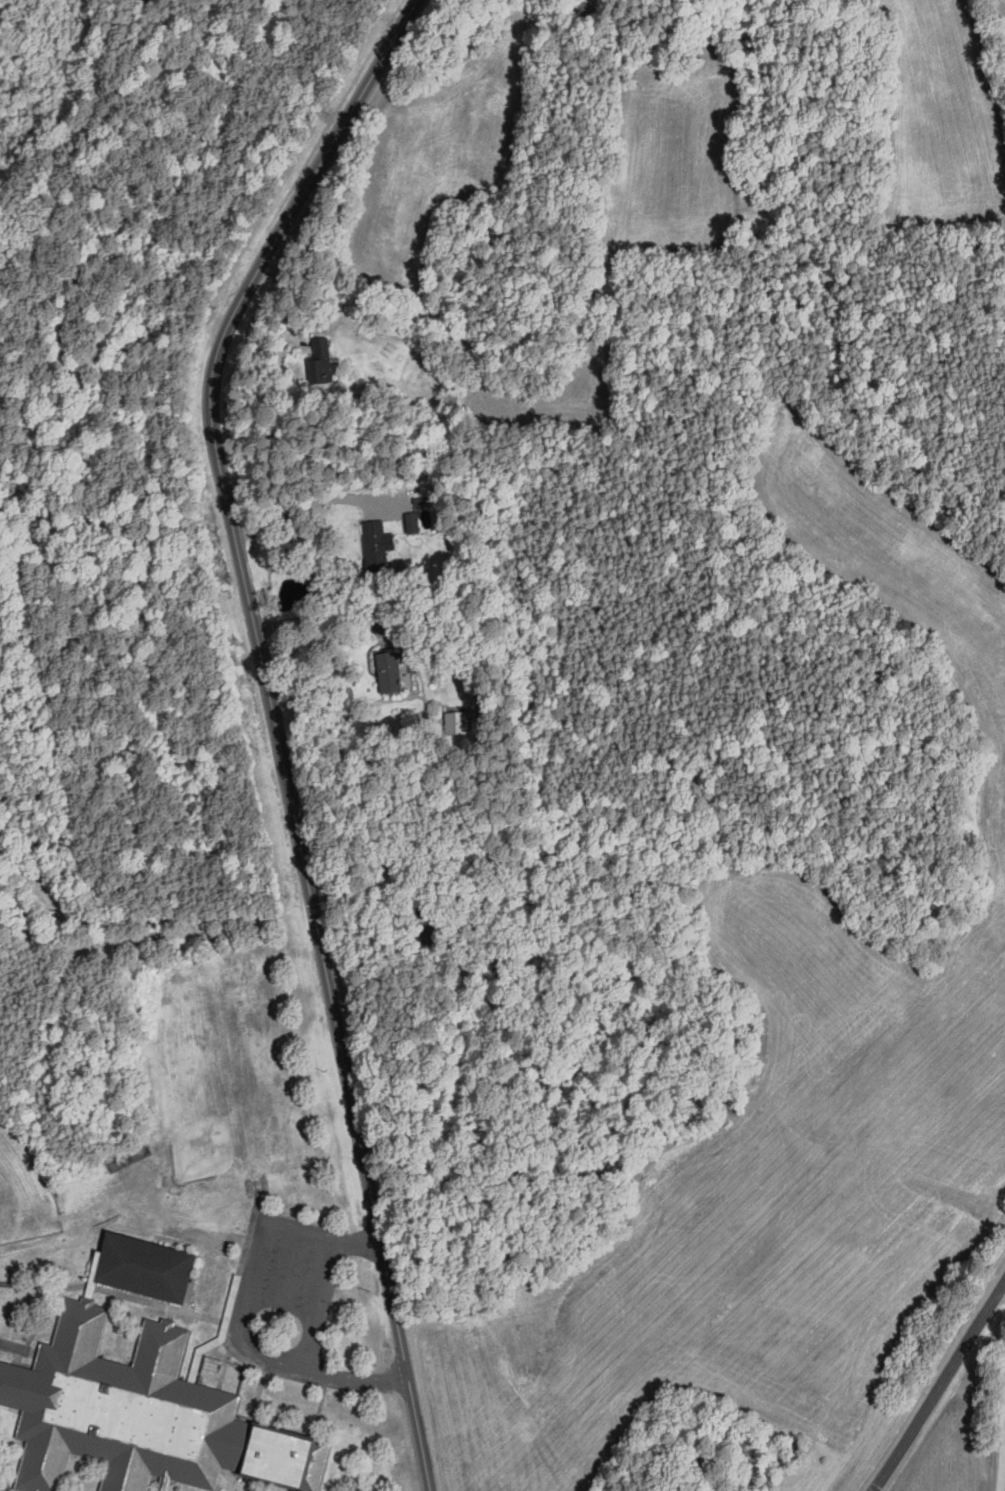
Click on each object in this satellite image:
building: (586, 13)
building: (322, 361)
road: (303, 498)
building: (414, 522)
building: (377, 547)
road: (320, 608)
building: (390, 671)
road: (271, 724)
building: (432, 927)
park: (234, 1111)
park: (25, 1181)
building: (149, 1259)
road: (319, 1327)
road: (939, 1385)
building: (142, 1407)
building: (796, 1450)
road: (1004, 1476)

